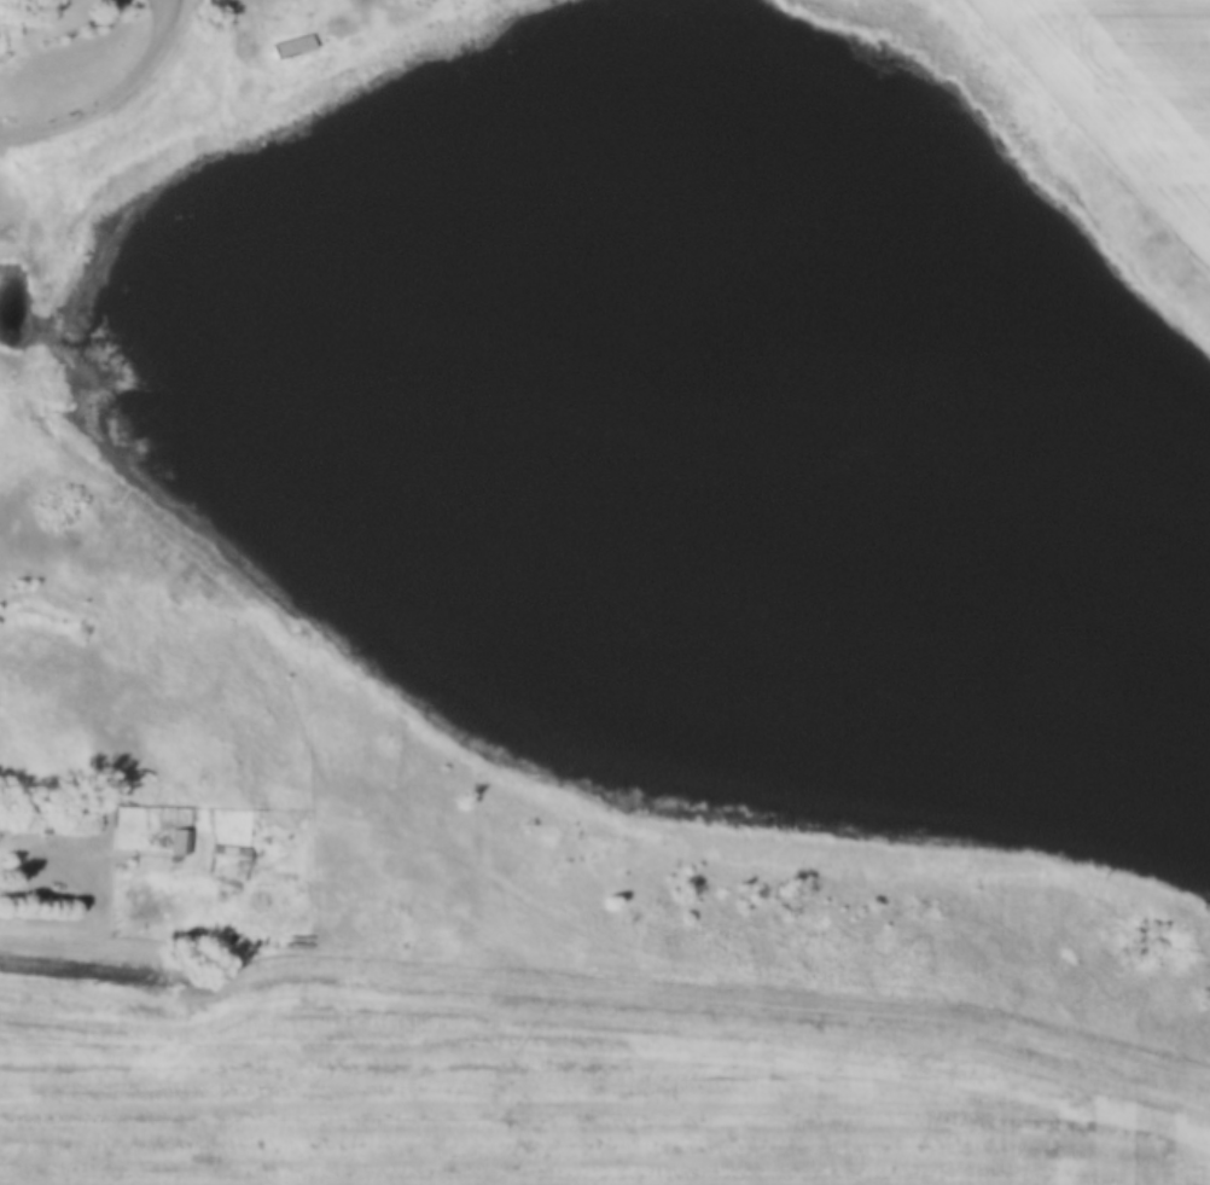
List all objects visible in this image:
building: (292, 46)
road: (107, 94)
building: (228, 854)
building: (355, 968)

